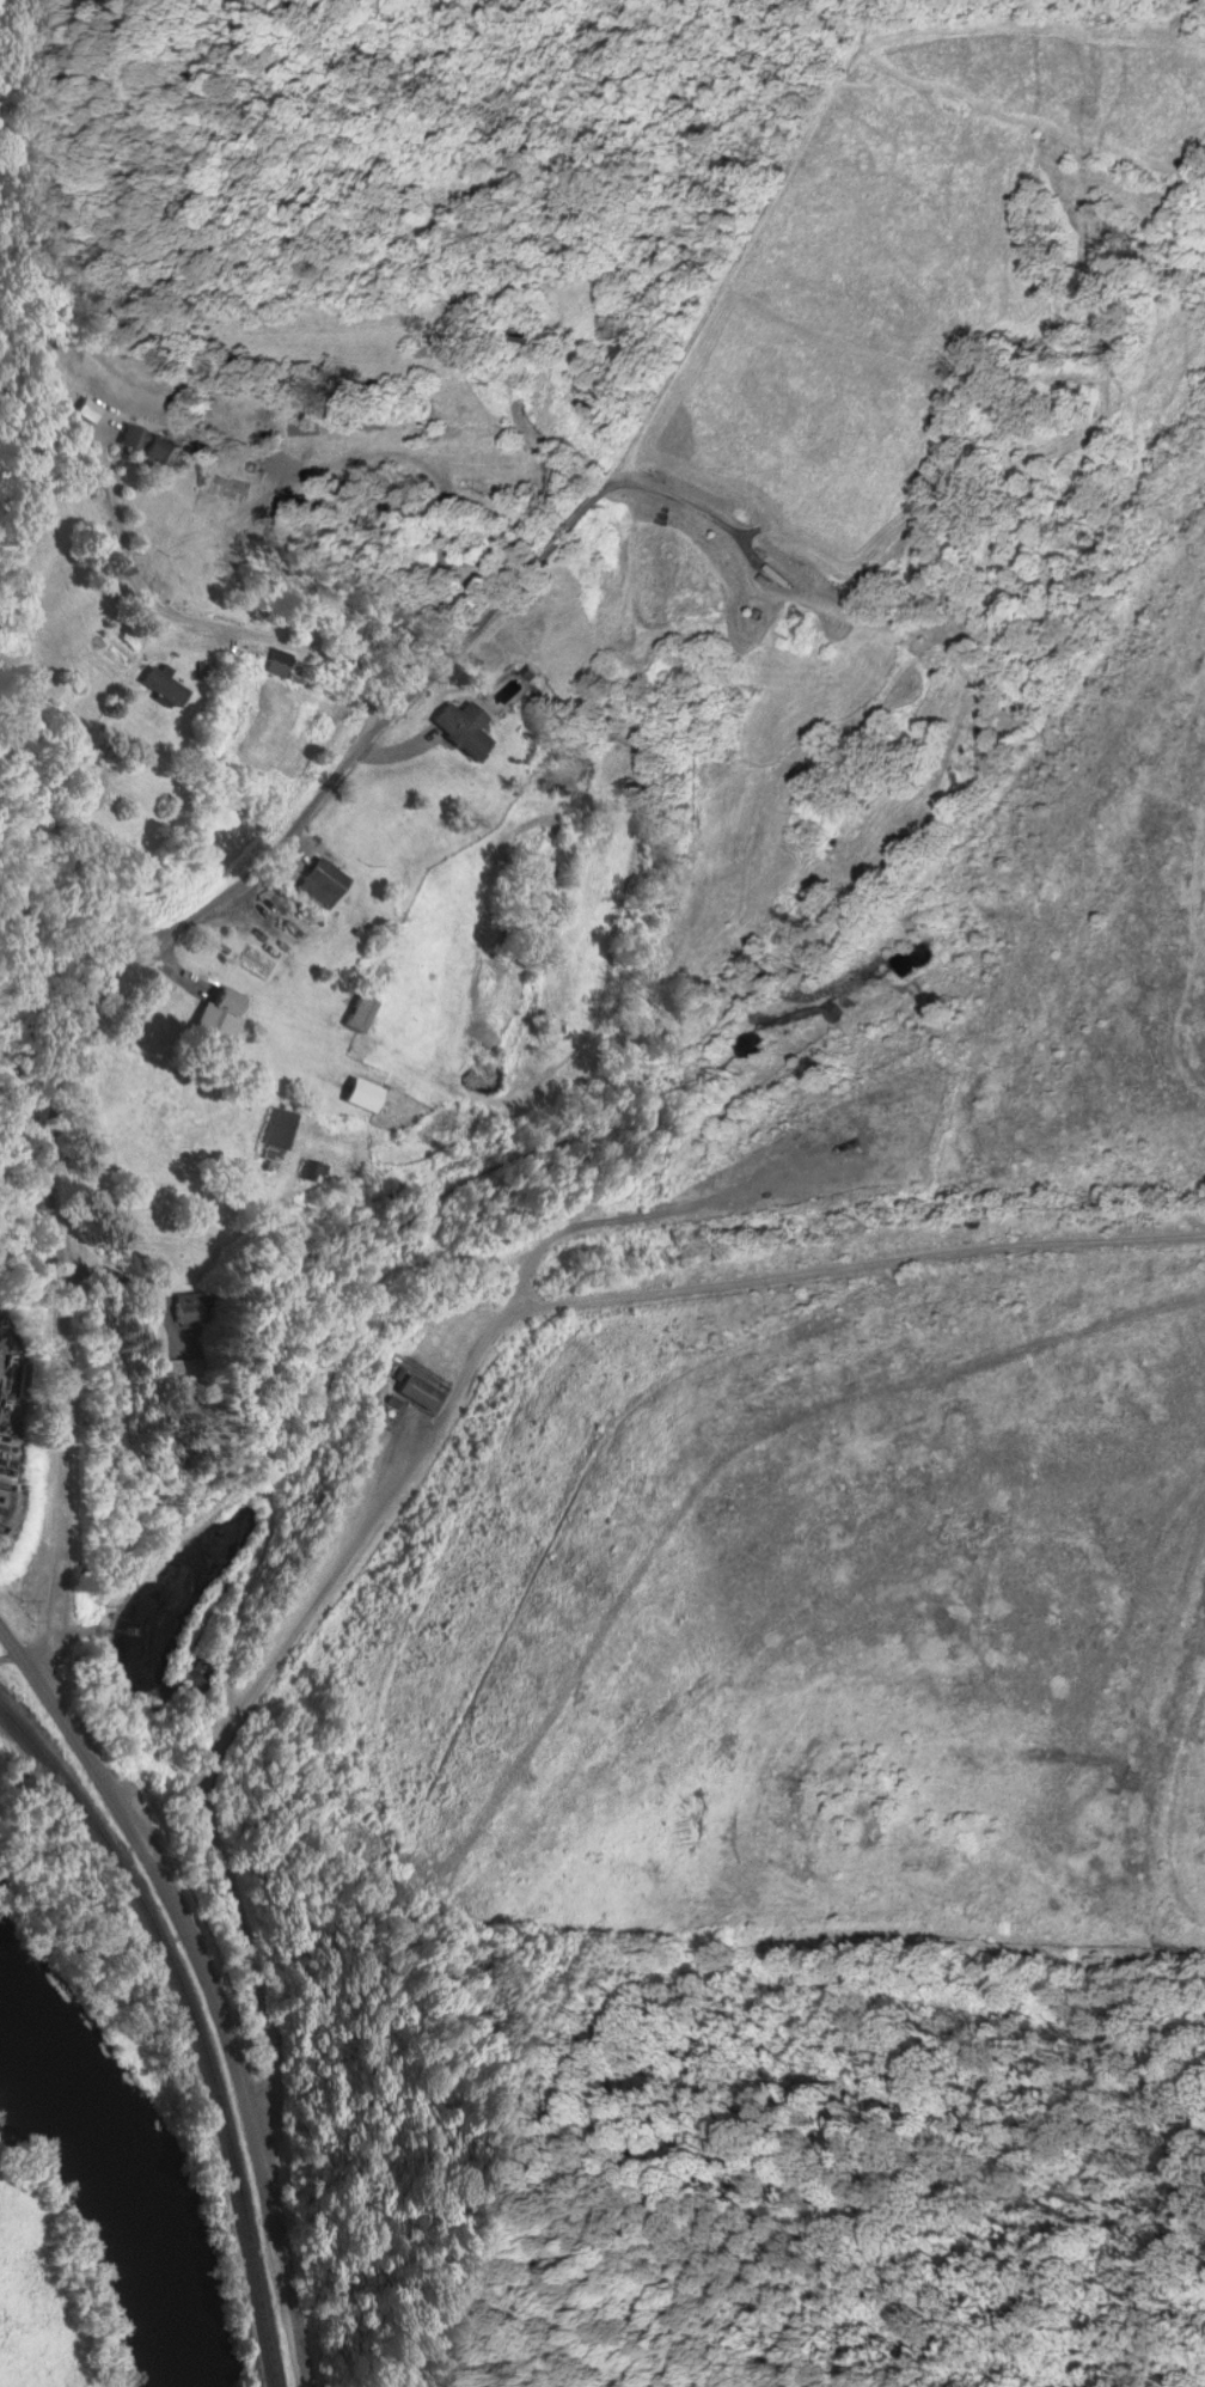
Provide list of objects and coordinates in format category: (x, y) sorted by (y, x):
road: (1074, 230)
building: (157, 452)
road: (723, 465)
building: (800, 625)
road: (1017, 631)
building: (283, 667)
road: (363, 669)
building: (169, 690)
building: (469, 732)
road: (477, 847)
building: (328, 884)
road: (163, 935)
building: (507, 935)
building: (227, 1014)
building: (368, 1097)
road: (482, 1099)
building: (279, 1140)
road: (481, 1254)
building: (189, 1311)
building: (185, 1373)
building: (422, 1393)
road: (433, 1414)
building: (8, 1457)
road: (208, 1984)
railway: (196, 2022)
river: (128, 2186)

